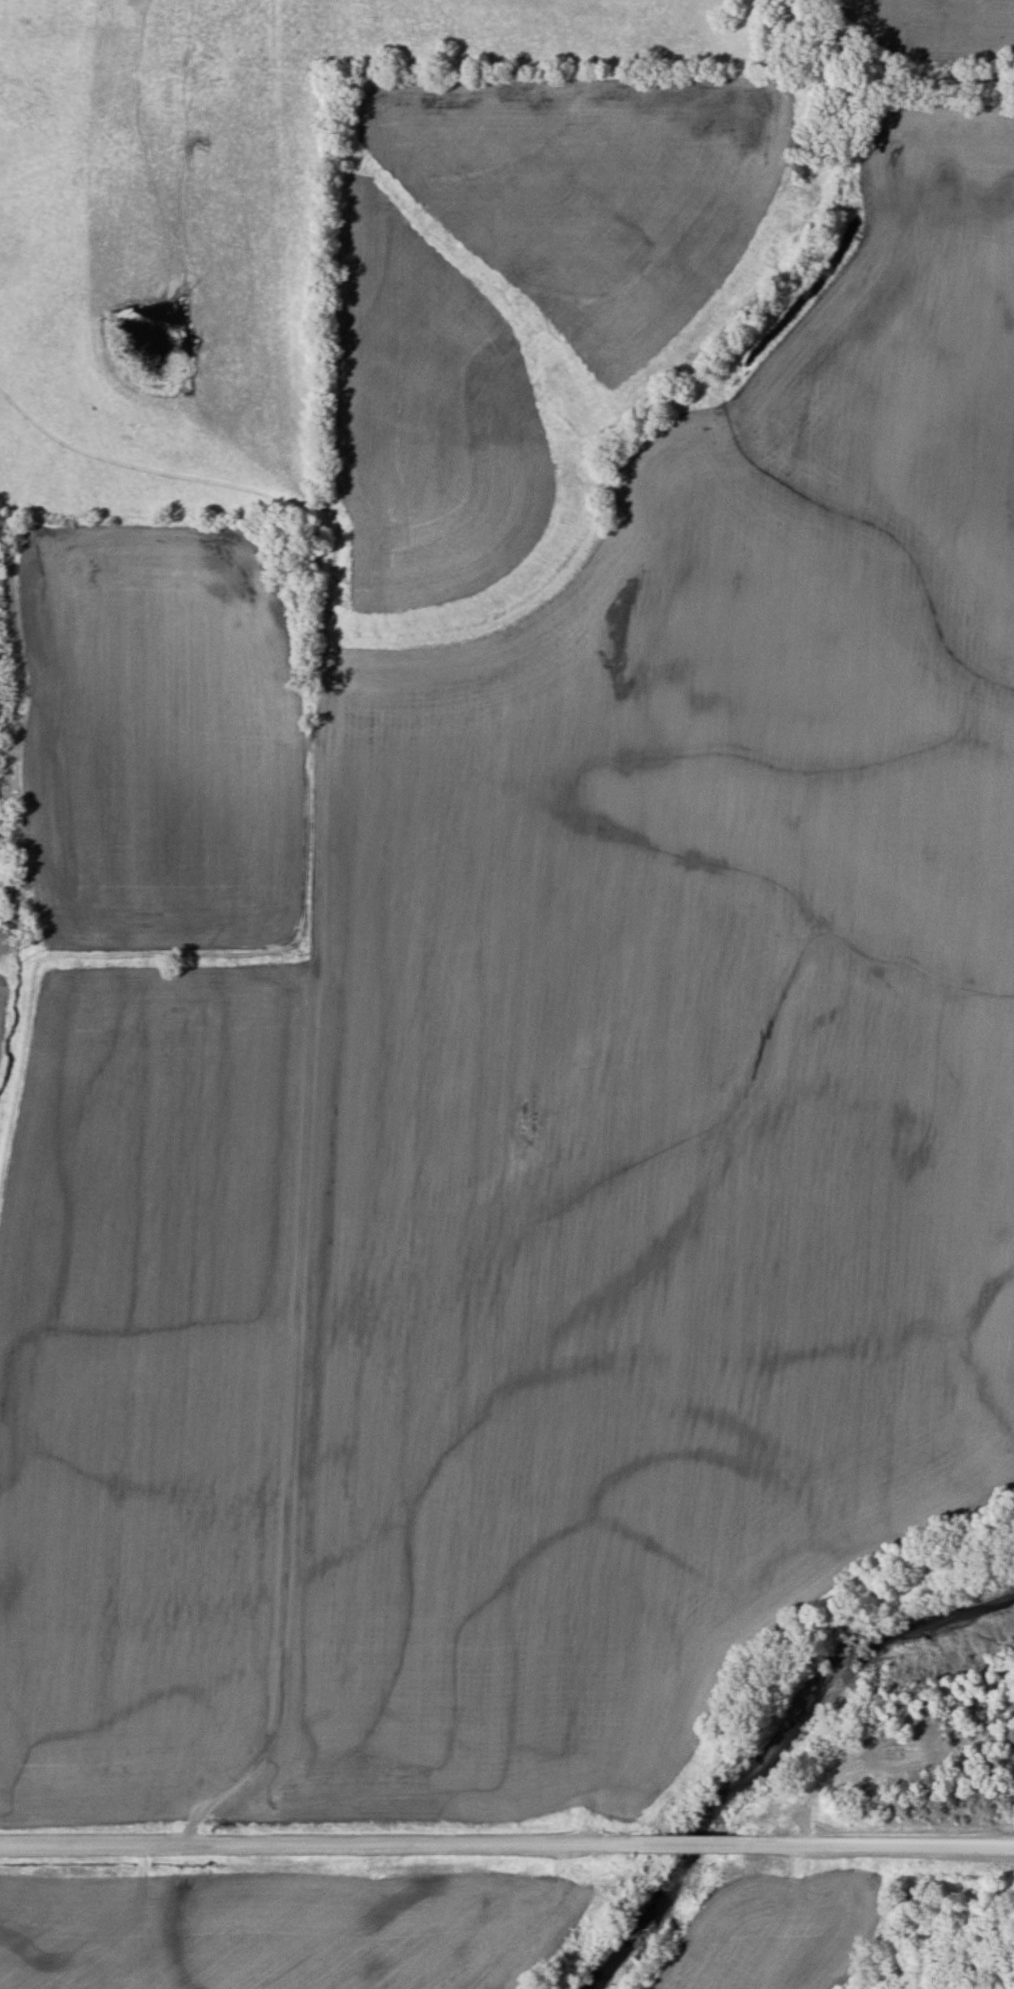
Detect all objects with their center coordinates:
road: (507, 1844)

